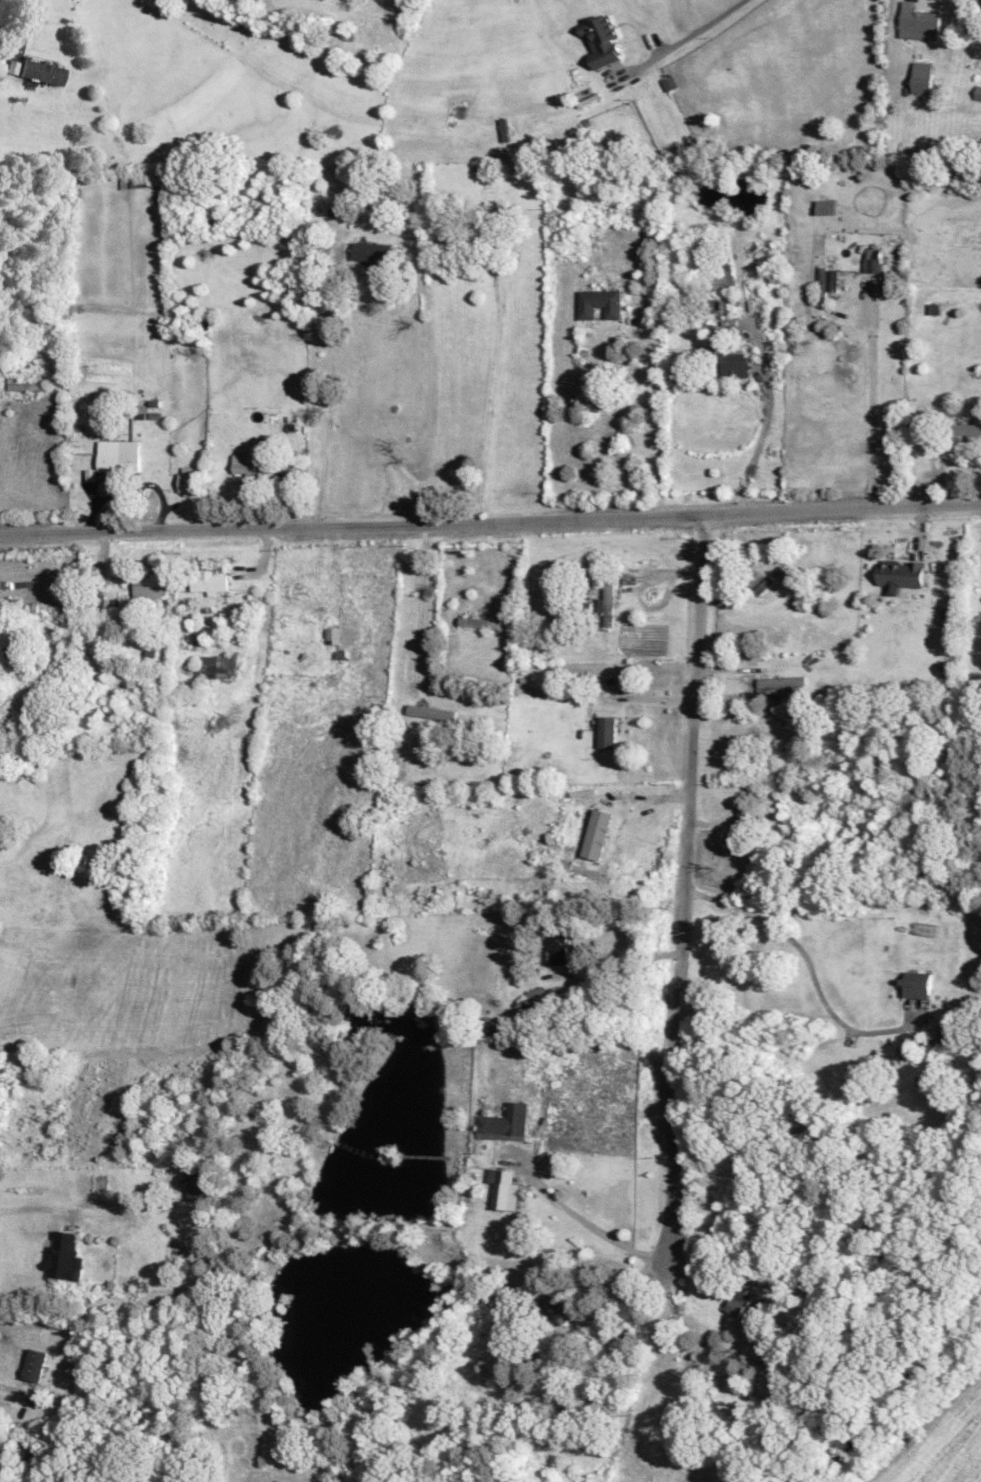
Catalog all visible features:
road: (22, 22)
building: (918, 22)
road: (700, 28)
building: (601, 39)
building: (13, 65)
building: (43, 71)
building: (921, 77)
building: (668, 82)
building: (977, 91)
building: (825, 206)
building: (372, 251)
building: (871, 259)
building: (827, 278)
building: (599, 303)
building: (734, 364)
building: (1, 365)
building: (25, 385)
road: (330, 393)
road: (872, 400)
road: (651, 419)
road: (766, 421)
building: (970, 430)
building: (119, 457)
building: (90, 474)
building: (188, 481)
road: (490, 519)
building: (900, 573)
building: (209, 582)
building: (148, 585)
building: (607, 604)
building: (479, 622)
building: (332, 635)
building: (214, 666)
building: (779, 683)
building: (430, 711)
building: (606, 730)
building: (597, 834)
road: (681, 882)
building: (557, 944)
road: (808, 962)
road: (619, 963)
building: (916, 984)
building: (541, 994)
building: (495, 1030)
building: (946, 1033)
building: (504, 1122)
building: (199, 1186)
building: (503, 1188)
road: (37, 1207)
road: (593, 1228)
building: (63, 1256)
building: (739, 1302)
building: (556, 1309)
building: (34, 1364)
road: (13, 1391)

